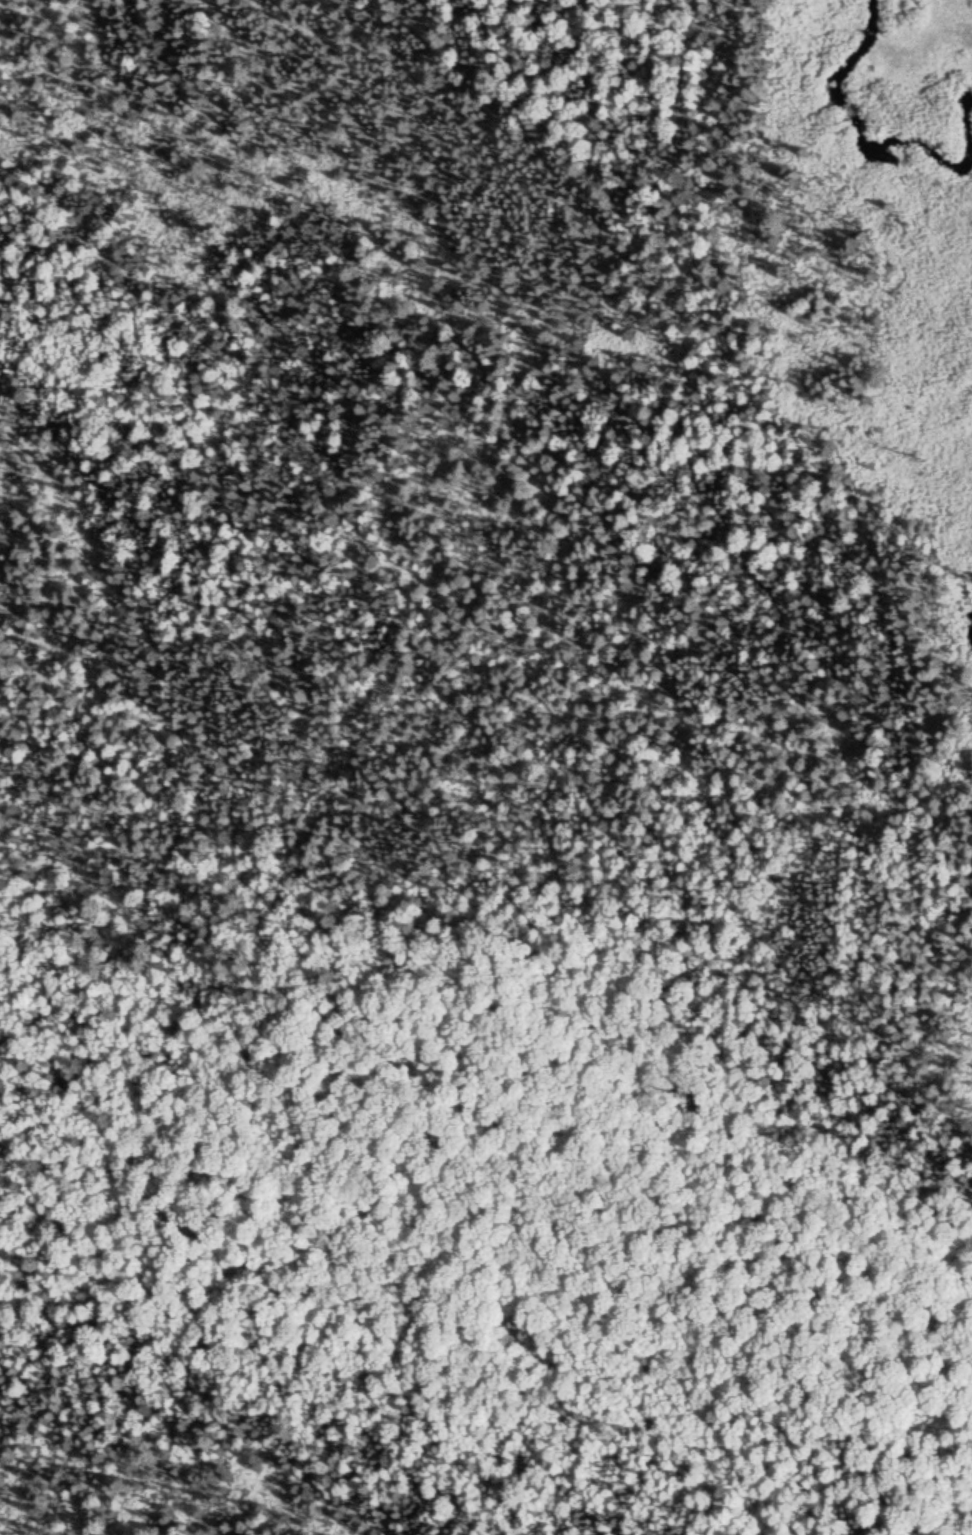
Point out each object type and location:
river: (860, 126)

